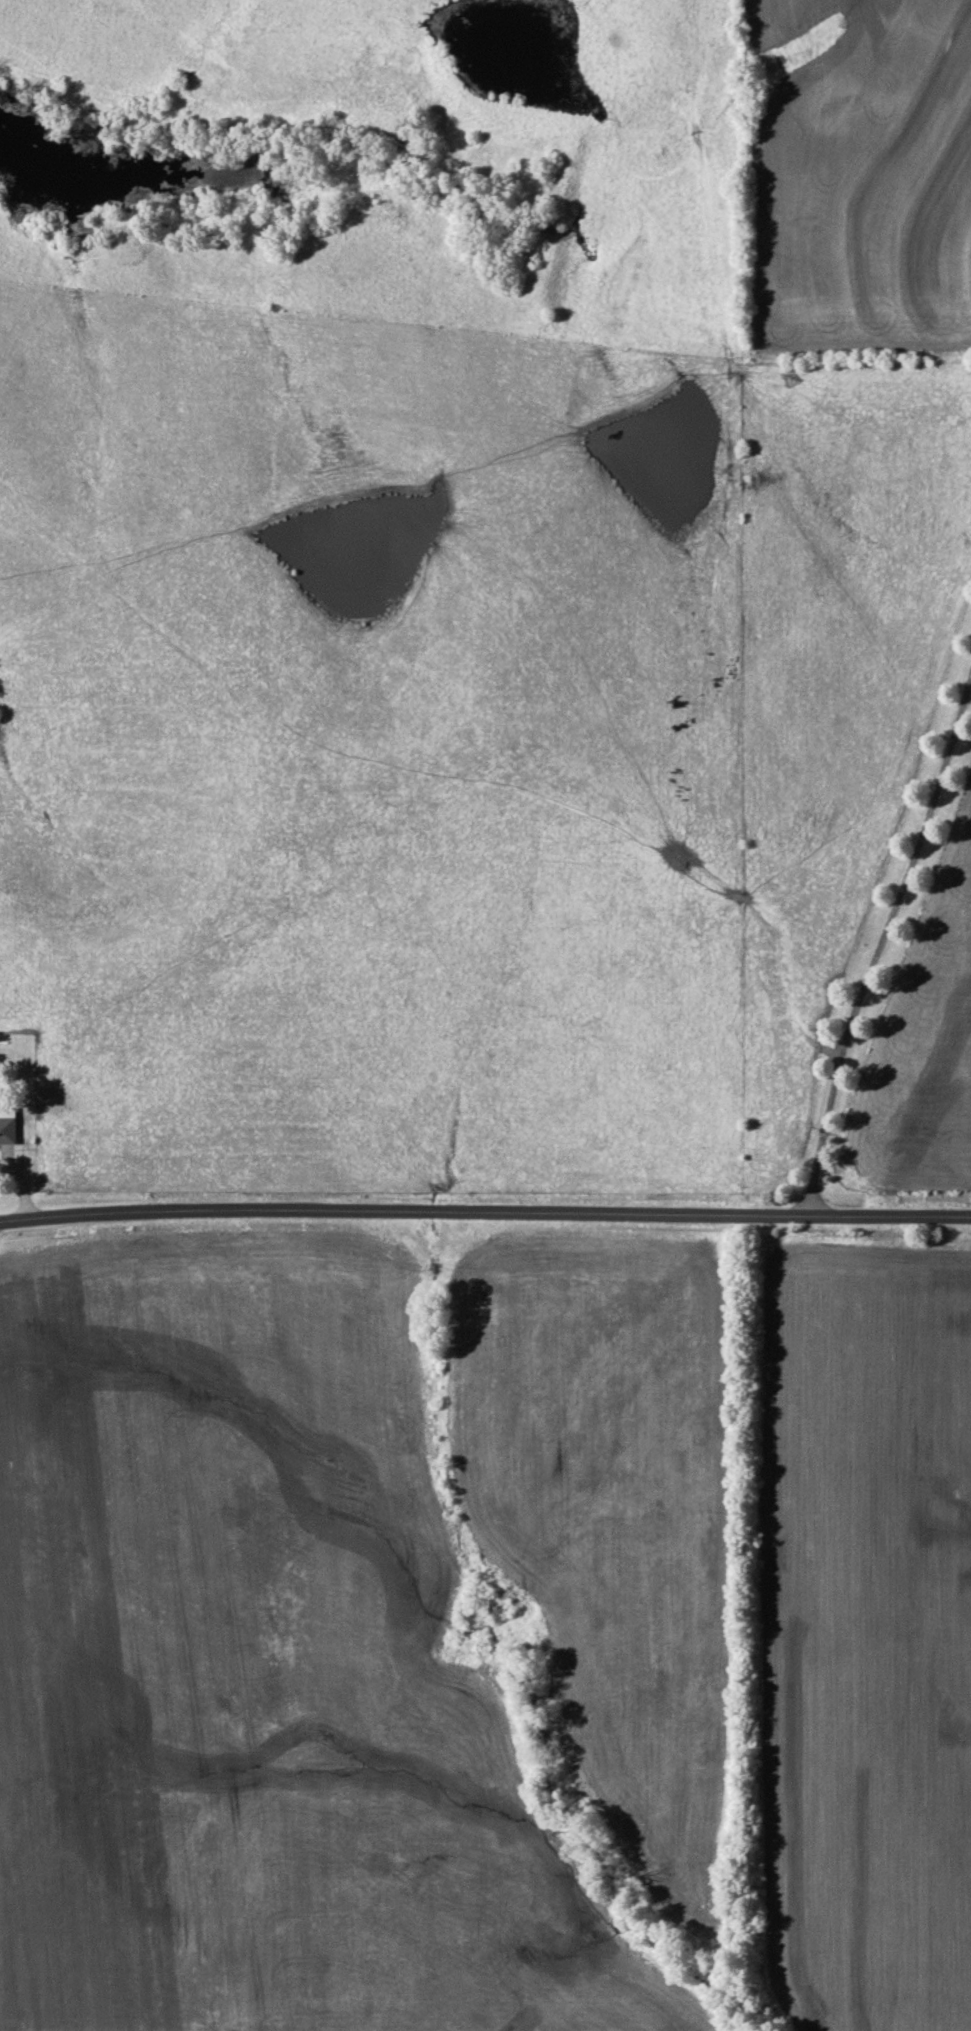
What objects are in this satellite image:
road: (880, 942)
building: (9, 1126)
road: (485, 1210)

